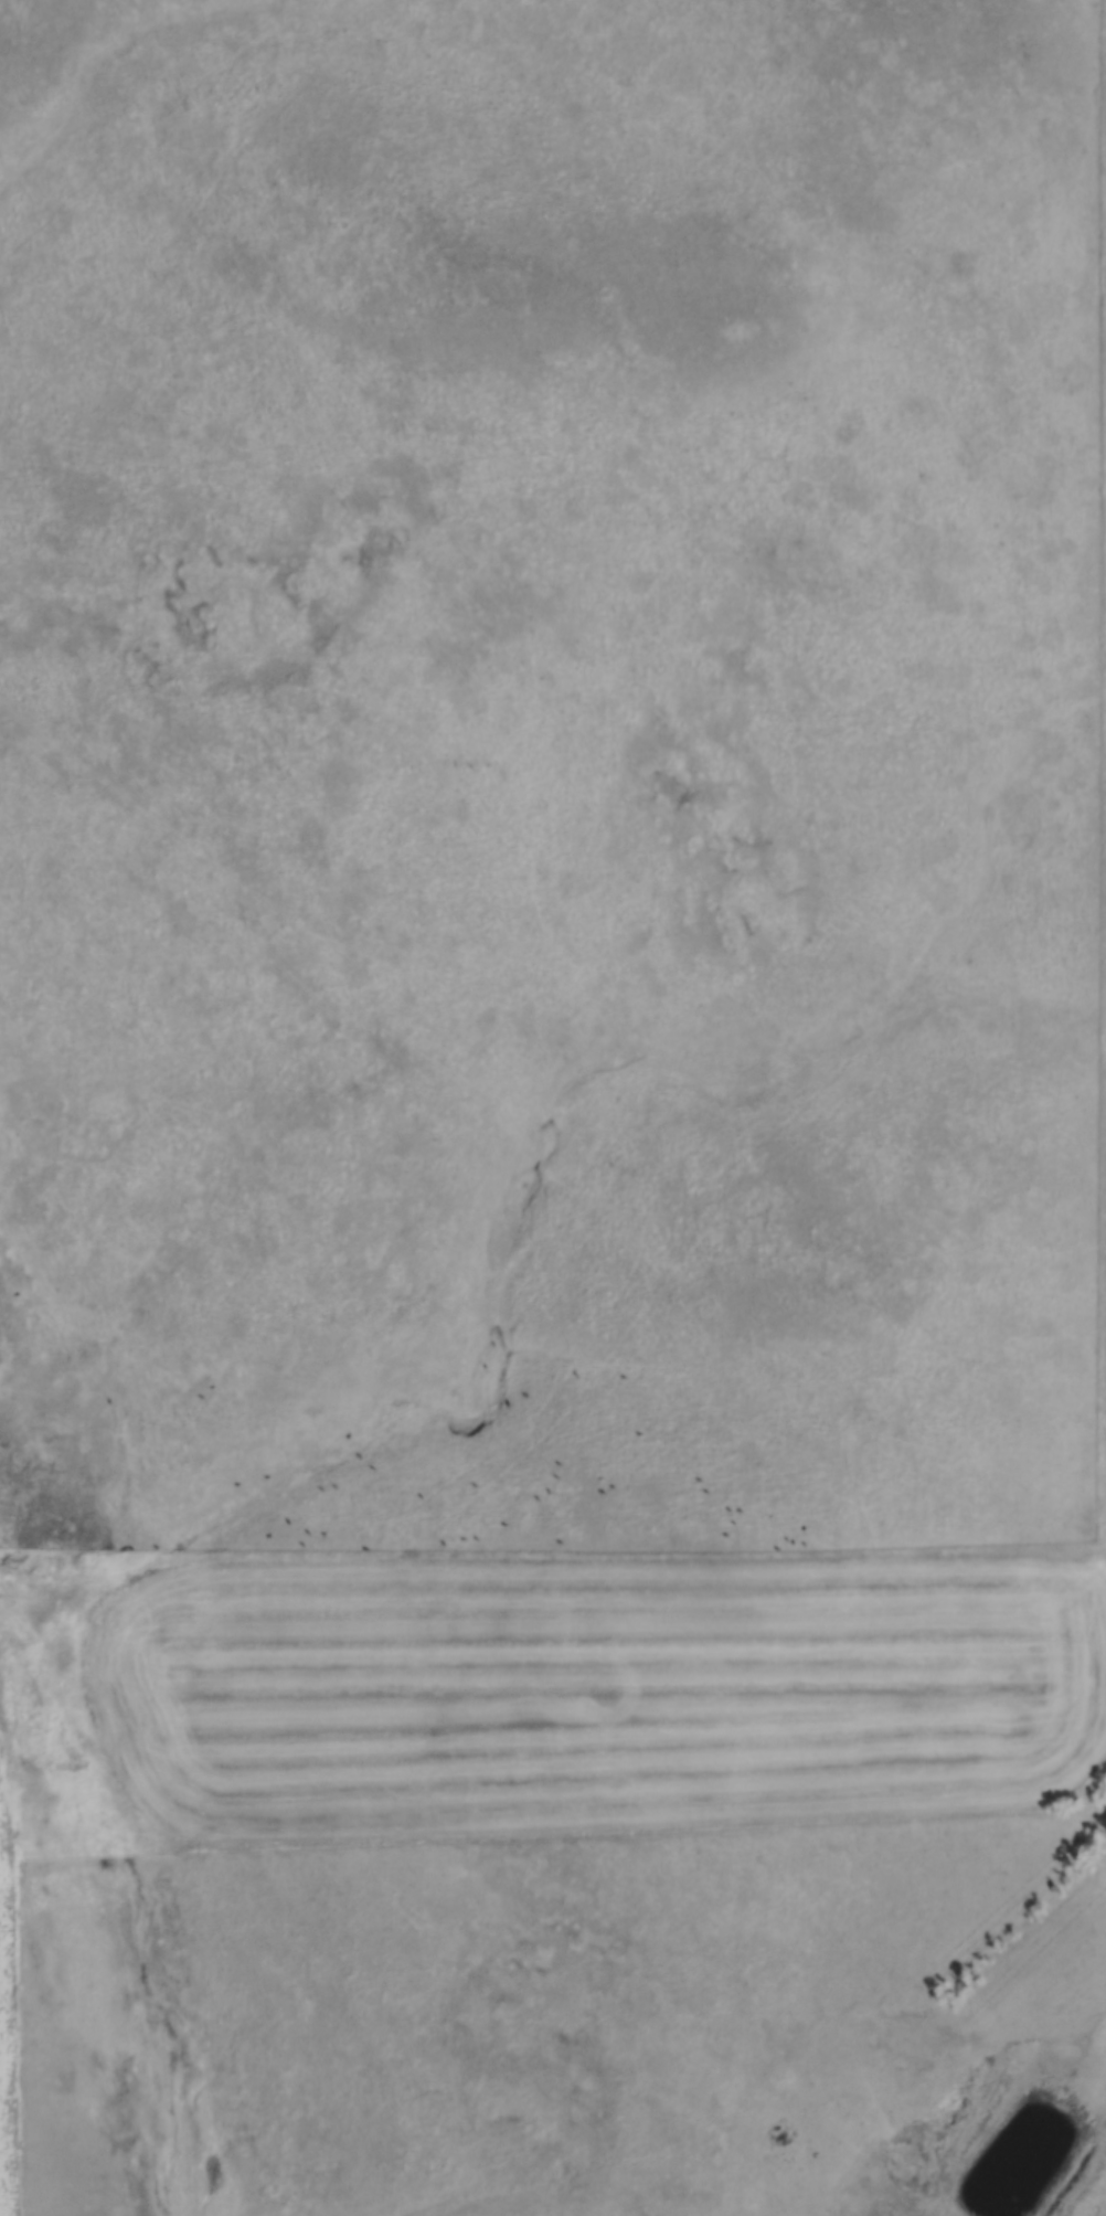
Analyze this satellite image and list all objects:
road: (307, 923)
road: (1089, 1552)

